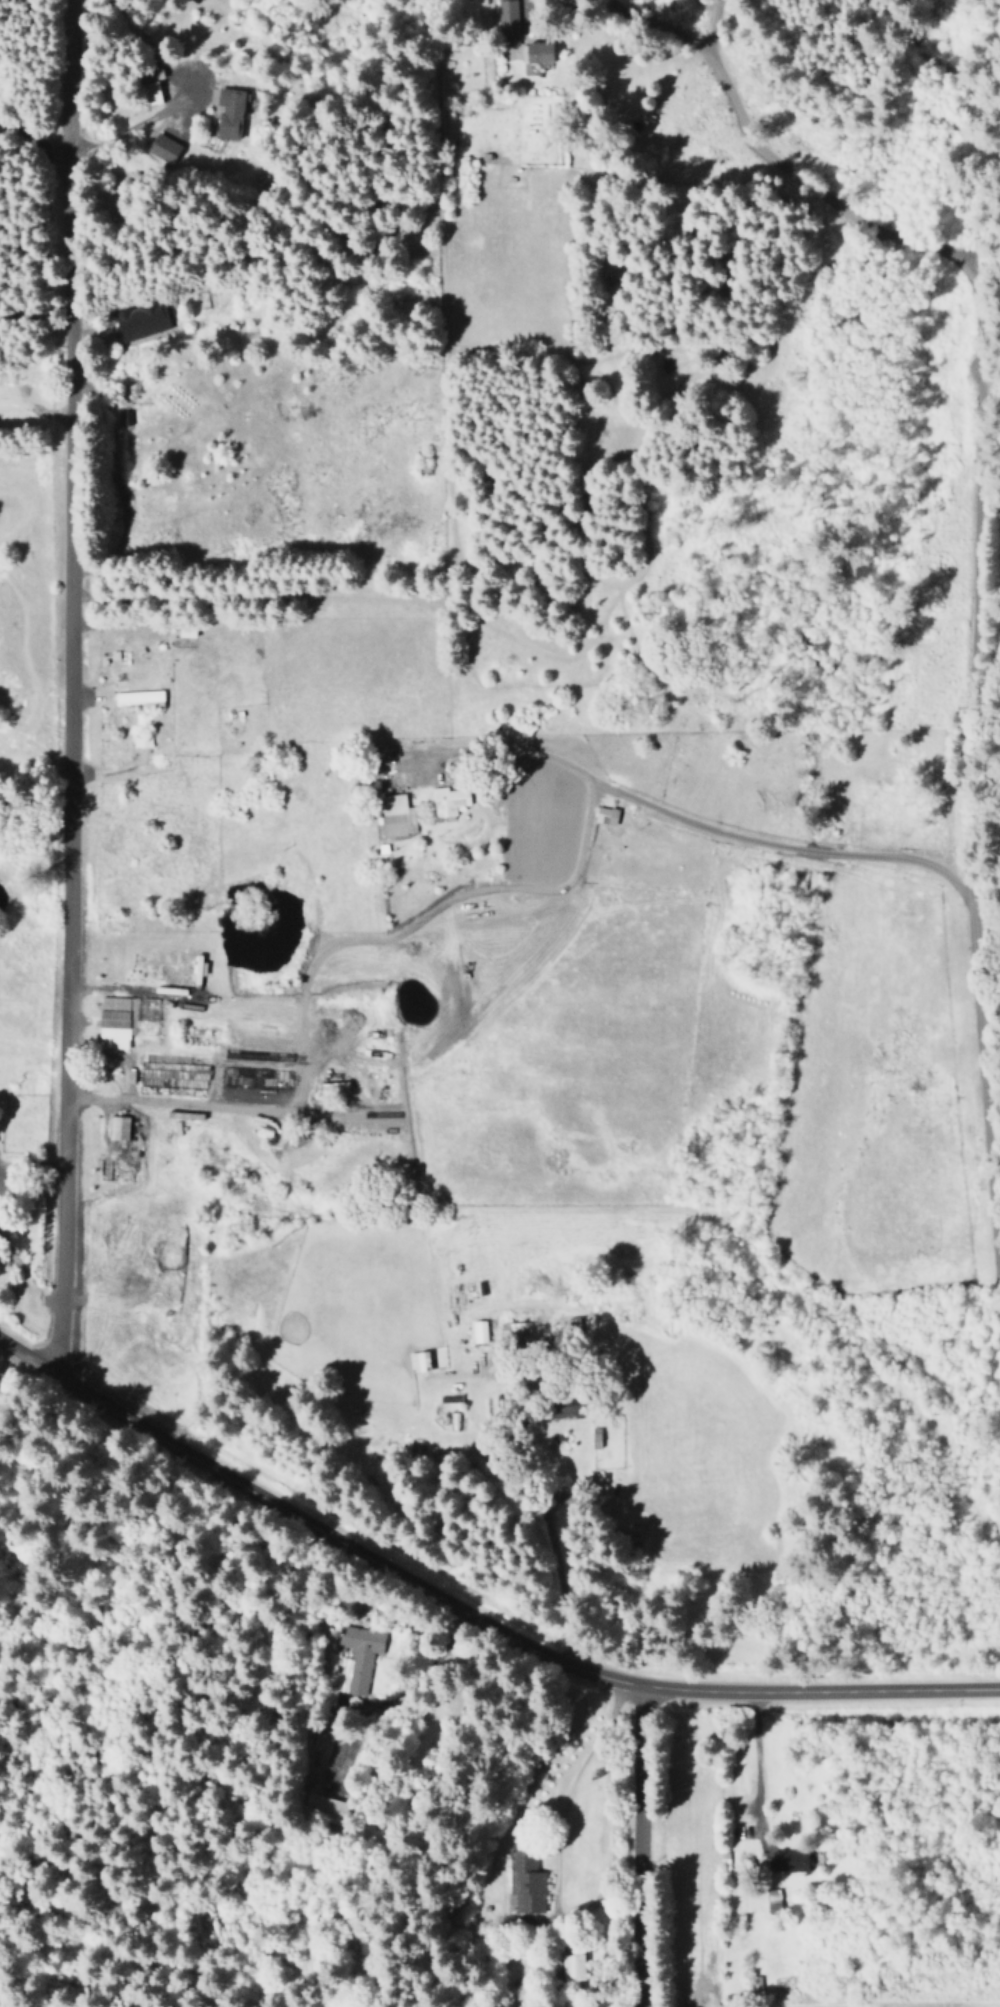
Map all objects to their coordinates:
building: (507, 17)
building: (150, 92)
building: (229, 112)
building: (163, 147)
building: (142, 319)
road: (975, 340)
road: (67, 686)
building: (141, 697)
building: (141, 739)
building: (448, 800)
building: (395, 815)
building: (605, 815)
road: (884, 860)
road: (302, 984)
building: (125, 1019)
building: (118, 1127)
building: (515, 1330)
building: (478, 1331)
building: (418, 1361)
building: (566, 1407)
road: (469, 1621)
building: (357, 1658)
building: (323, 1808)
road: (633, 1850)
building: (790, 1860)
building: (526, 1882)
building: (572, 1966)

